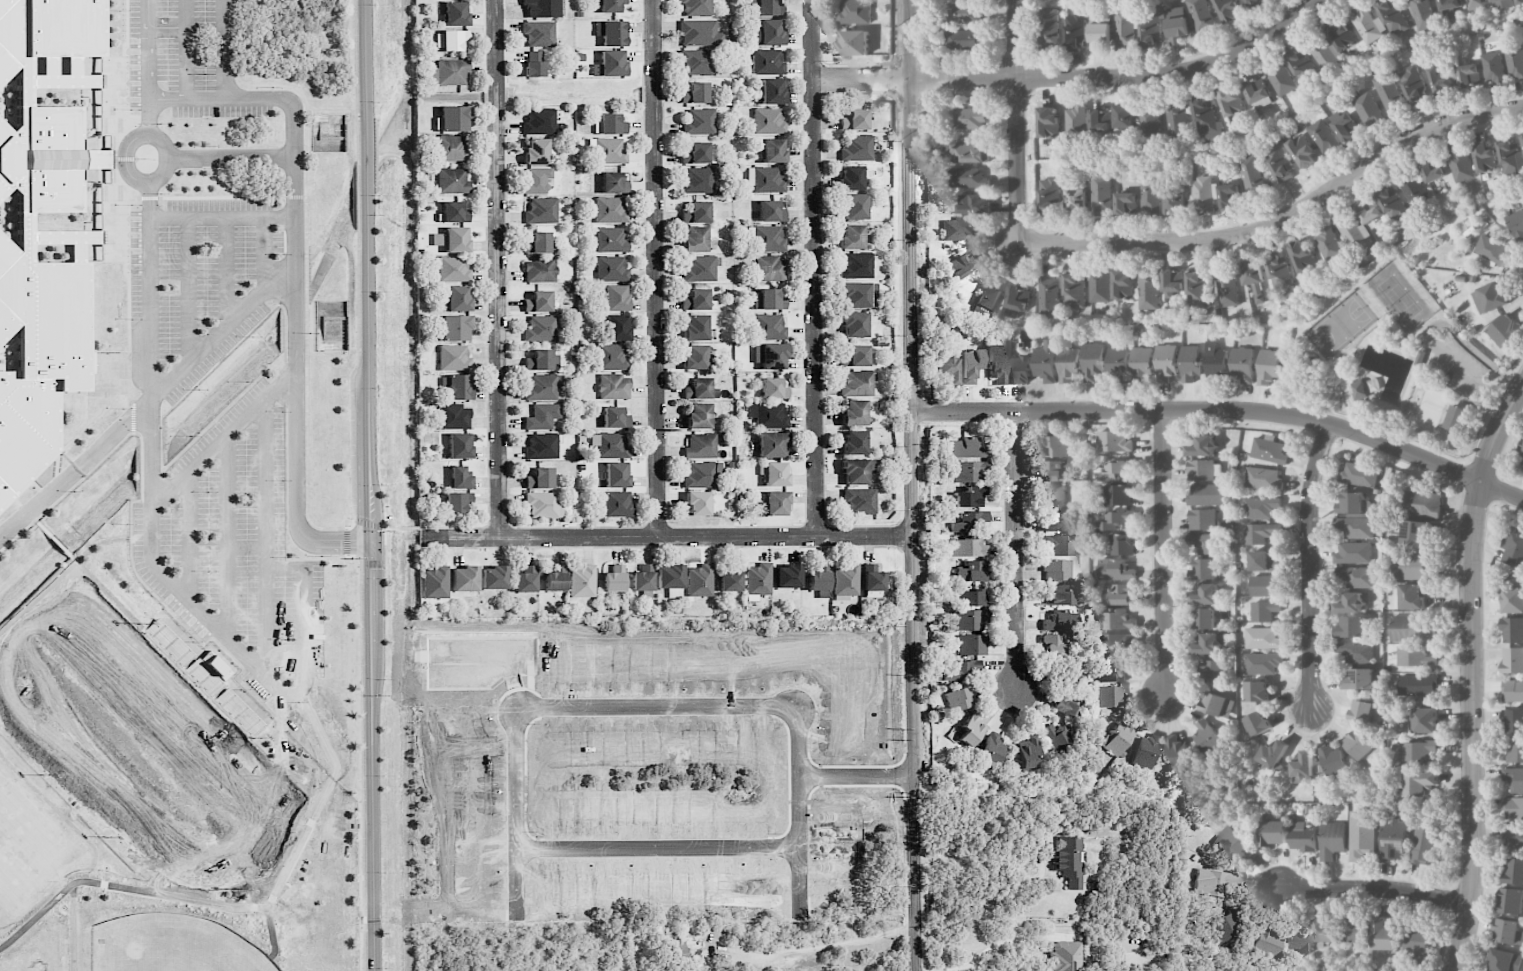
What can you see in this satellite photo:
building: (1252, 2)
building: (1519, 2)
building: (1450, 4)
building: (1475, 4)
building: (1500, 4)
building: (608, 5)
building: (695, 7)
building: (761, 7)
building: (542, 8)
building: (1227, 10)
building: (855, 11)
building: (966, 12)
building: (455, 13)
building: (1422, 14)
building: (1200, 15)
building: (1392, 16)
building: (1176, 24)
building: (1151, 25)
building: (1368, 25)
building: (1048, 27)
building: (1124, 28)
building: (1099, 31)
building: (610, 32)
building: (767, 32)
building: (1075, 32)
building: (538, 33)
building: (700, 33)
building: (1340, 35)
building: (450, 39)
building: (965, 39)
building: (854, 42)
road: (185, 49)
road: (223, 49)
building: (1324, 52)
parking lot: (185, 61)
building: (696, 61)
building: (767, 61)
building: (1514, 62)
building: (532, 63)
building: (609, 63)
road: (146, 66)
building: (1302, 66)
building: (1492, 67)
building: (448, 72)
building: (1469, 76)
building: (1280, 78)
road: (1077, 80)
building: (1441, 80)
building: (1413, 85)
building: (771, 91)
building: (1257, 92)
building: (1388, 92)
building: (695, 93)
building: (1229, 100)
building: (1367, 109)
building: (1125, 116)
building: (453, 118)
building: (968, 118)
building: (1076, 118)
building: (854, 119)
building: (1206, 119)
building: (767, 120)
building: (1176, 120)
building: (539, 121)
building: (698, 121)
building: (1101, 121)
building: (1150, 121)
building: (1048, 122)
road: (1015, 123)
building: (611, 124)
building: (1344, 125)
building: (1323, 136)
building: (1522, 138)
building: (451, 148)
building: (857, 148)
building: (770, 150)
building: (538, 151)
building: (608, 151)
building: (1302, 151)
building: (969, 152)
building: (698, 153)
building: (1485, 157)
building: (1511, 157)
road: (233, 158)
building: (1279, 160)
building: (1460, 165)
road: (123, 166)
building: (1432, 169)
building: (1252, 174)
building: (850, 177)
building: (968, 178)
building: (535, 179)
building: (767, 179)
building: (452, 180)
building: (698, 180)
building: (613, 183)
building: (1411, 187)
building: (1101, 193)
building: (1204, 193)
building: (1230, 194)
building: (1150, 195)
building: (1050, 196)
building: (1076, 200)
building: (1175, 202)
building: (1126, 203)
building: (974, 204)
building: (1392, 204)
building: (853, 206)
building: (609, 209)
building: (541, 210)
building: (1367, 210)
building: (770, 211)
building: (454, 212)
building: (696, 212)
road: (221, 216)
road: (1281, 221)
building: (1517, 224)
building: (958, 229)
building: (1352, 233)
building: (851, 236)
building: (694, 238)
building: (451, 239)
building: (768, 239)
building: (610, 240)
building: (539, 243)
building: (1327, 244)
road: (263, 251)
building: (1492, 251)
building: (1302, 257)
building: (12, 258)
building: (856, 264)
building: (961, 264)
building: (770, 267)
parking lot: (190, 268)
building: (450, 268)
building: (610, 268)
road: (656, 268)
building: (700, 268)
road: (815, 268)
road: (499, 269)
building: (539, 269)
road: (225, 270)
building: (1278, 272)
building: (1253, 278)
road: (297, 281)
building: (1173, 282)
building: (1123, 284)
building: (1099, 286)
building: (1227, 286)
road: (188, 288)
building: (1196, 288)
building: (1148, 289)
building: (1074, 290)
building: (858, 295)
building: (615, 297)
building: (1049, 297)
building: (455, 298)
building: (1018, 298)
building: (1489, 298)
building: (767, 299)
park: (1400, 299)
building: (695, 300)
building: (986, 300)
building: (538, 301)
building: (853, 324)
building: (768, 326)
park: (1341, 326)
building: (455, 327)
building: (616, 327)
building: (695, 327)
building: (540, 328)
building: (1505, 330)
road: (1429, 331)
road: (1348, 349)
building: (770, 355)
building: (695, 356)
building: (855, 356)
building: (613, 357)
building: (453, 358)
building: (1421, 359)
building: (542, 360)
building: (1216, 360)
building: (1045, 361)
building: (1093, 361)
road: (1334, 361)
park: (1392, 361)
building: (1167, 362)
building: (1191, 362)
parking lot: (1462, 363)
building: (1069, 364)
building: (1118, 364)
building: (1143, 364)
building: (1243, 364)
building: (969, 365)
building: (996, 365)
building: (1269, 366)
building: (947, 367)
building: (1020, 370)
building: (857, 382)
building: (540, 386)
building: (612, 386)
building: (457, 387)
building: (698, 388)
building: (773, 388)
building: (1362, 391)
road: (1462, 396)
road: (150, 398)
road: (1412, 398)
road: (1328, 401)
road: (1463, 403)
park: (1430, 409)
road: (1225, 410)
building: (854, 412)
building: (768, 414)
road: (1353, 414)
building: (698, 415)
building: (453, 416)
building: (542, 416)
building: (614, 417)
building: (1458, 419)
road: (223, 436)
building: (1114, 441)
building: (854, 442)
building: (611, 444)
building: (772, 444)
building: (459, 445)
building: (700, 445)
building: (542, 446)
building: (1056, 446)
building: (1202, 446)
building: (967, 449)
building: (1269, 449)
road: (1461, 450)
building: (1520, 460)
road: (149, 465)
building: (1057, 469)
building: (856, 470)
building: (1115, 470)
building: (1201, 470)
building: (968, 471)
building: (702, 473)
building: (773, 473)
building: (616, 474)
building: (1358, 474)
building: (459, 477)
building: (539, 478)
building: (1263, 478)
road: (371, 485)
road: (913, 485)
building: (970, 496)
building: (1053, 496)
building: (859, 500)
building: (454, 501)
building: (615, 503)
building: (697, 503)
building: (1351, 503)
building: (1426, 503)
building: (544, 505)
building: (1260, 507)
building: (1118, 517)
building: (1202, 519)
building: (968, 520)
building: (1055, 521)
building: (1355, 527)
road: (386, 528)
road: (409, 528)
road: (426, 531)
building: (1260, 532)
building: (1415, 533)
road: (188, 534)
road: (225, 535)
road: (264, 537)
road: (668, 537)
building: (1207, 543)
building: (1060, 544)
building: (1122, 544)
building: (1513, 544)
road: (245, 546)
parking lot: (235, 547)
building: (967, 547)
road: (1016, 552)
road: (1162, 553)
building: (1353, 553)
building: (1263, 561)
road: (1308, 566)
building: (1413, 566)
building: (1205, 568)
building: (1058, 569)
building: (1115, 569)
building: (971, 571)
building: (786, 576)
building: (1354, 576)
building: (494, 577)
building: (464, 578)
building: (525, 578)
building: (614, 578)
building: (643, 578)
building: (670, 579)
building: (699, 580)
building: (818, 580)
building: (555, 581)
building: (582, 581)
building: (872, 581)
building: (436, 582)
building: (1265, 585)
building: (1119, 594)
building: (1207, 594)
building: (1058, 595)
building: (1411, 596)
building: (970, 599)
building: (1513, 600)
building: (1350, 603)
building: (1264, 611)
road: (304, 618)
building: (1205, 618)
building: (968, 619)
building: (1061, 620)
building: (1116, 620)
building: (1351, 627)
building: (1409, 629)
building: (1513, 630)
building: (1262, 638)
building: (169, 642)
building: (1116, 643)
building: (1209, 643)
building: (972, 644)
building: (1053, 644)
building: (1357, 652)
building: (1414, 656)
building: (1513, 660)
building: (1263, 663)
building: (960, 670)
building: (1213, 670)
building: (1072, 671)
building: (1110, 671)
road: (1471, 673)
building: (1362, 679)
building: (1418, 685)
building: (1512, 690)
building: (1257, 691)
building: (1109, 696)
building: (959, 698)
building: (1218, 704)
building: (1066, 708)
building: (1362, 710)
building: (1426, 720)
building: (1513, 720)
road: (521, 721)
building: (1257, 723)
building: (971, 729)
building: (1057, 737)
building: (1118, 737)
building: (1208, 738)
park: (136, 740)
building: (1357, 744)
track: (46, 748)
building: (1515, 750)
building: (989, 751)
building: (1028, 751)
building: (1145, 751)
building: (1176, 752)
building: (1418, 752)
building: (1272, 754)
building: (1335, 760)
building: (1302, 767)
building: (1514, 778)
building: (1420, 783)
building: (1514, 809)
building: (1273, 833)
building: (1361, 836)
building: (1303, 837)
building: (1393, 838)
building: (1515, 838)
building: (1332, 839)
building: (1424, 843)
building: (1232, 845)
park: (26, 847)
building: (1069, 860)
building: (1515, 871)
building: (1214, 882)
road: (1373, 889)
building: (1511, 901)
building: (1225, 926)
building: (1326, 930)
building: (1355, 930)
building: (1509, 931)
building: (1383, 935)
building: (1417, 940)
building: (1263, 941)
building: (1298, 941)
park: (175, 945)
road: (779, 952)
building: (1065, 956)
building: (1506, 961)
park: (1, 970)

